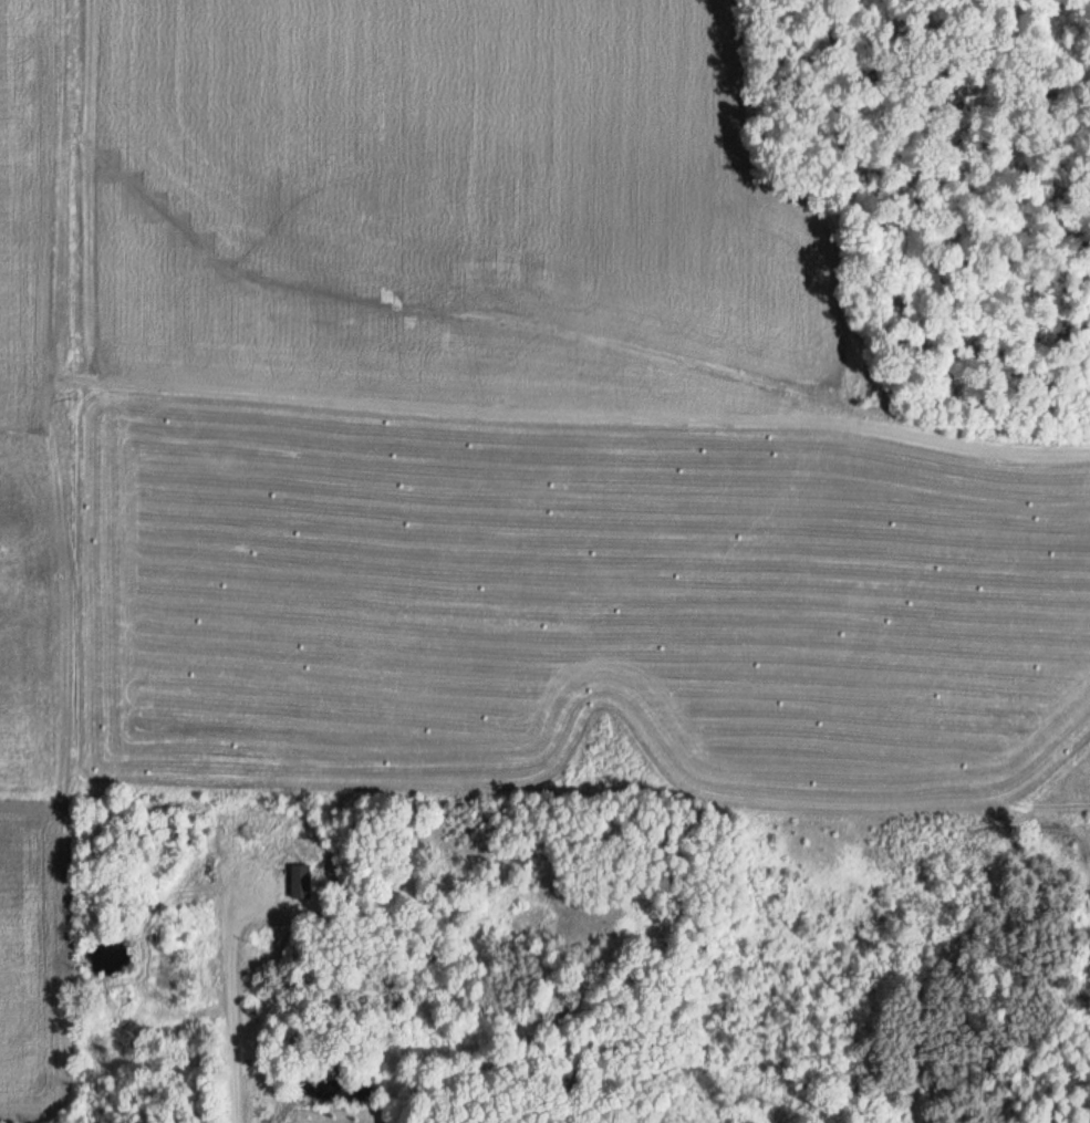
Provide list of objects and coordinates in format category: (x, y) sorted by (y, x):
building: (294, 883)

